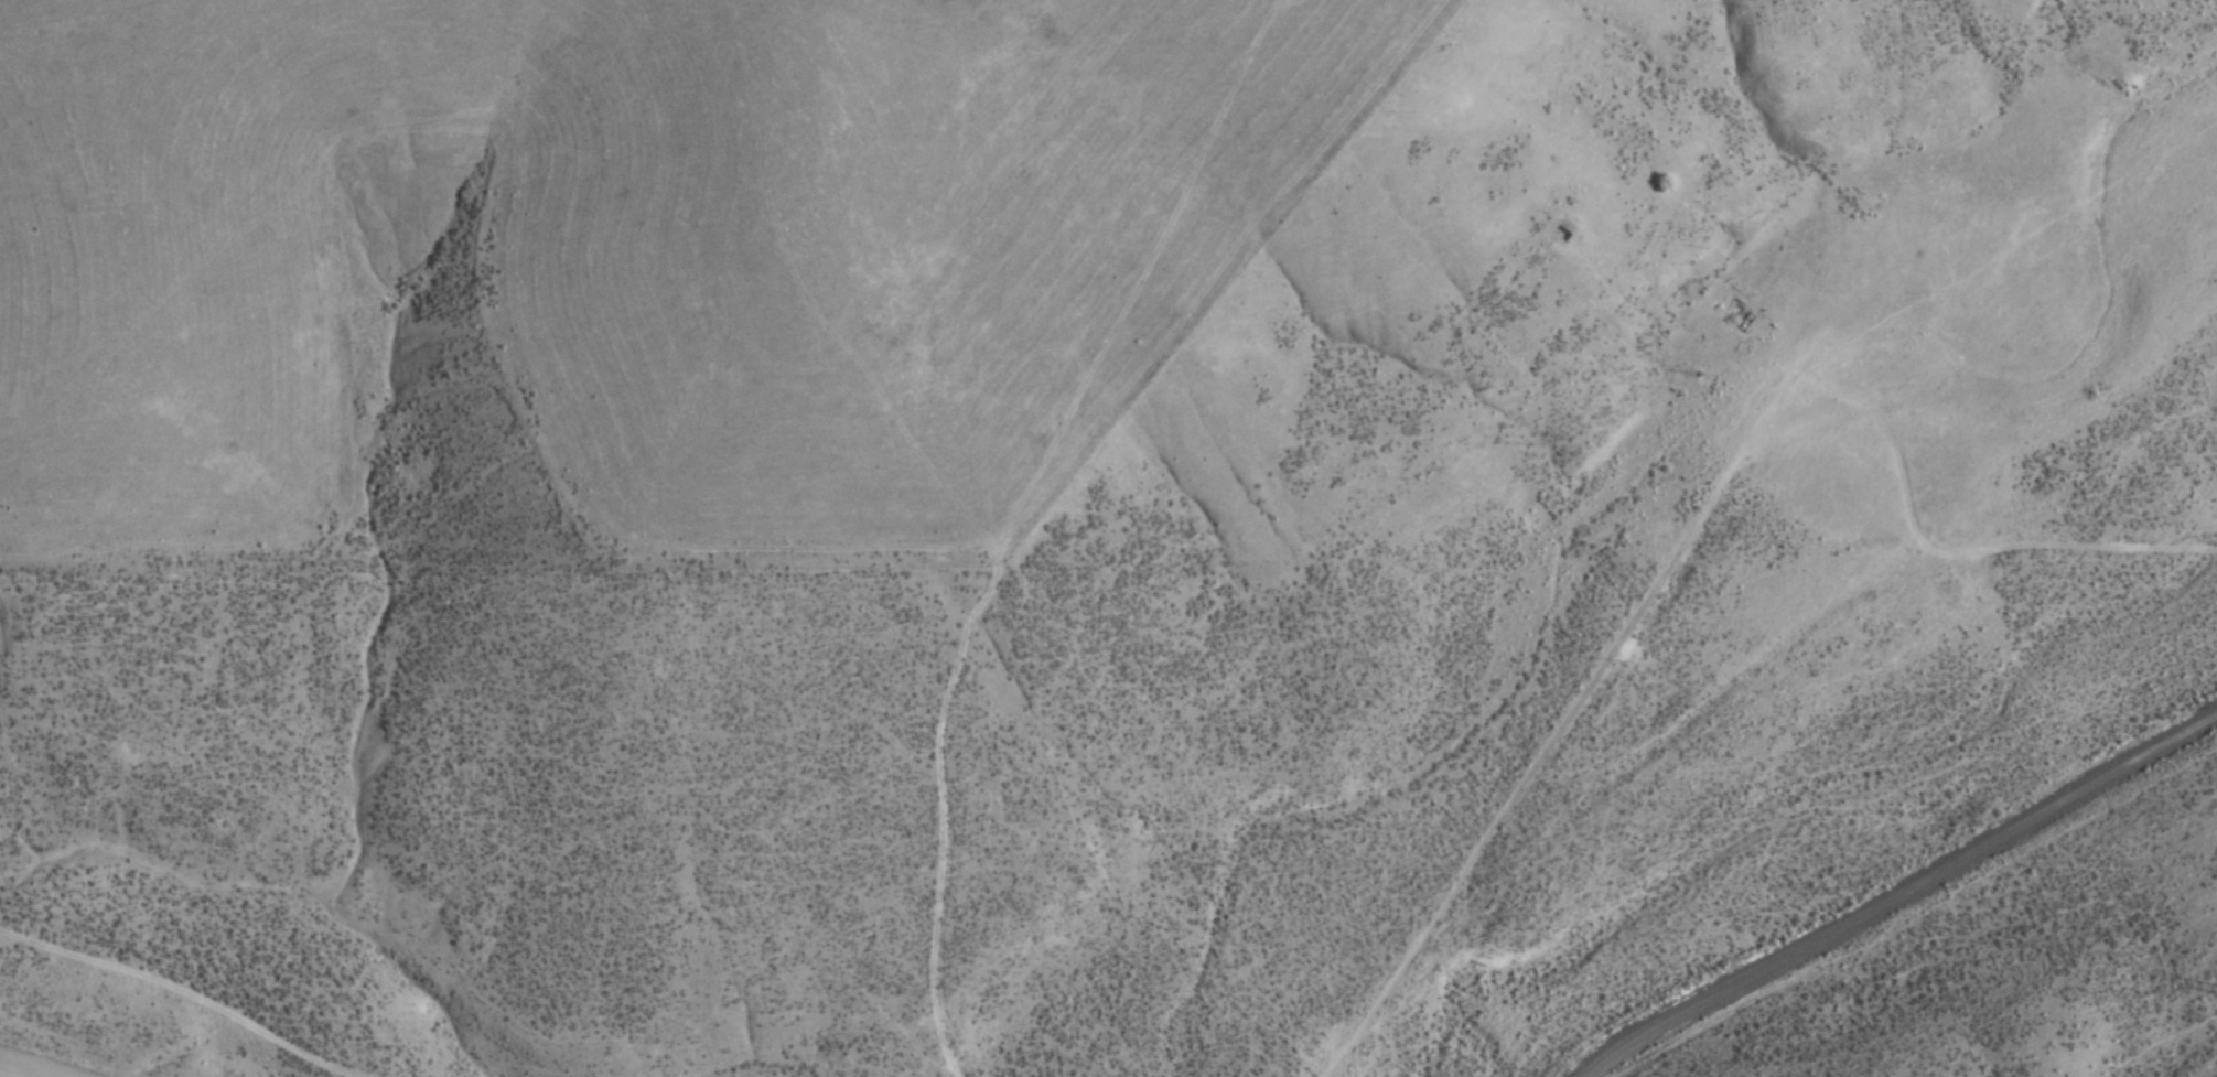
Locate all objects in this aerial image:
road: (1897, 890)

